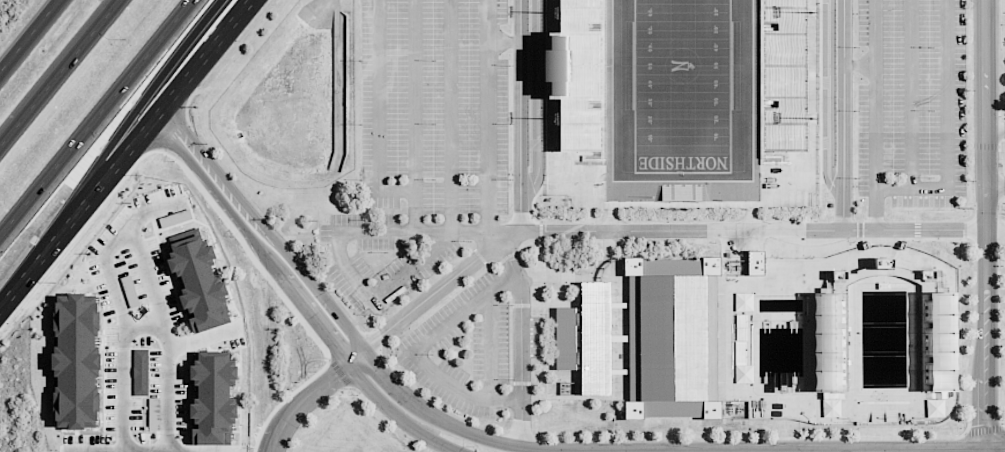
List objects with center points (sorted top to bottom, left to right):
road: (28, 34)
road: (859, 65)
road: (59, 73)
building: (781, 74)
road: (193, 75)
building: (574, 75)
park: (680, 86)
road: (910, 94)
road: (145, 97)
parking lot: (434, 106)
stadium: (682, 106)
parking lot: (915, 106)
road: (378, 112)
road: (843, 114)
road: (876, 114)
road: (522, 115)
road: (413, 116)
road: (487, 116)
road: (95, 117)
road: (947, 129)
road: (995, 129)
road: (994, 187)
building: (681, 192)
road: (449, 208)
road: (984, 225)
road: (654, 230)
road: (995, 230)
road: (66, 231)
road: (418, 233)
road: (121, 238)
building: (198, 280)
road: (291, 291)
parking lot: (445, 302)
building: (743, 302)
road: (147, 321)
building: (585, 337)
building: (669, 337)
road: (519, 340)
building: (827, 342)
building: (936, 342)
road: (490, 346)
road: (414, 351)
building: (76, 361)
building: (140, 372)
road: (310, 394)
building: (213, 398)
building: (934, 408)
road: (510, 444)

